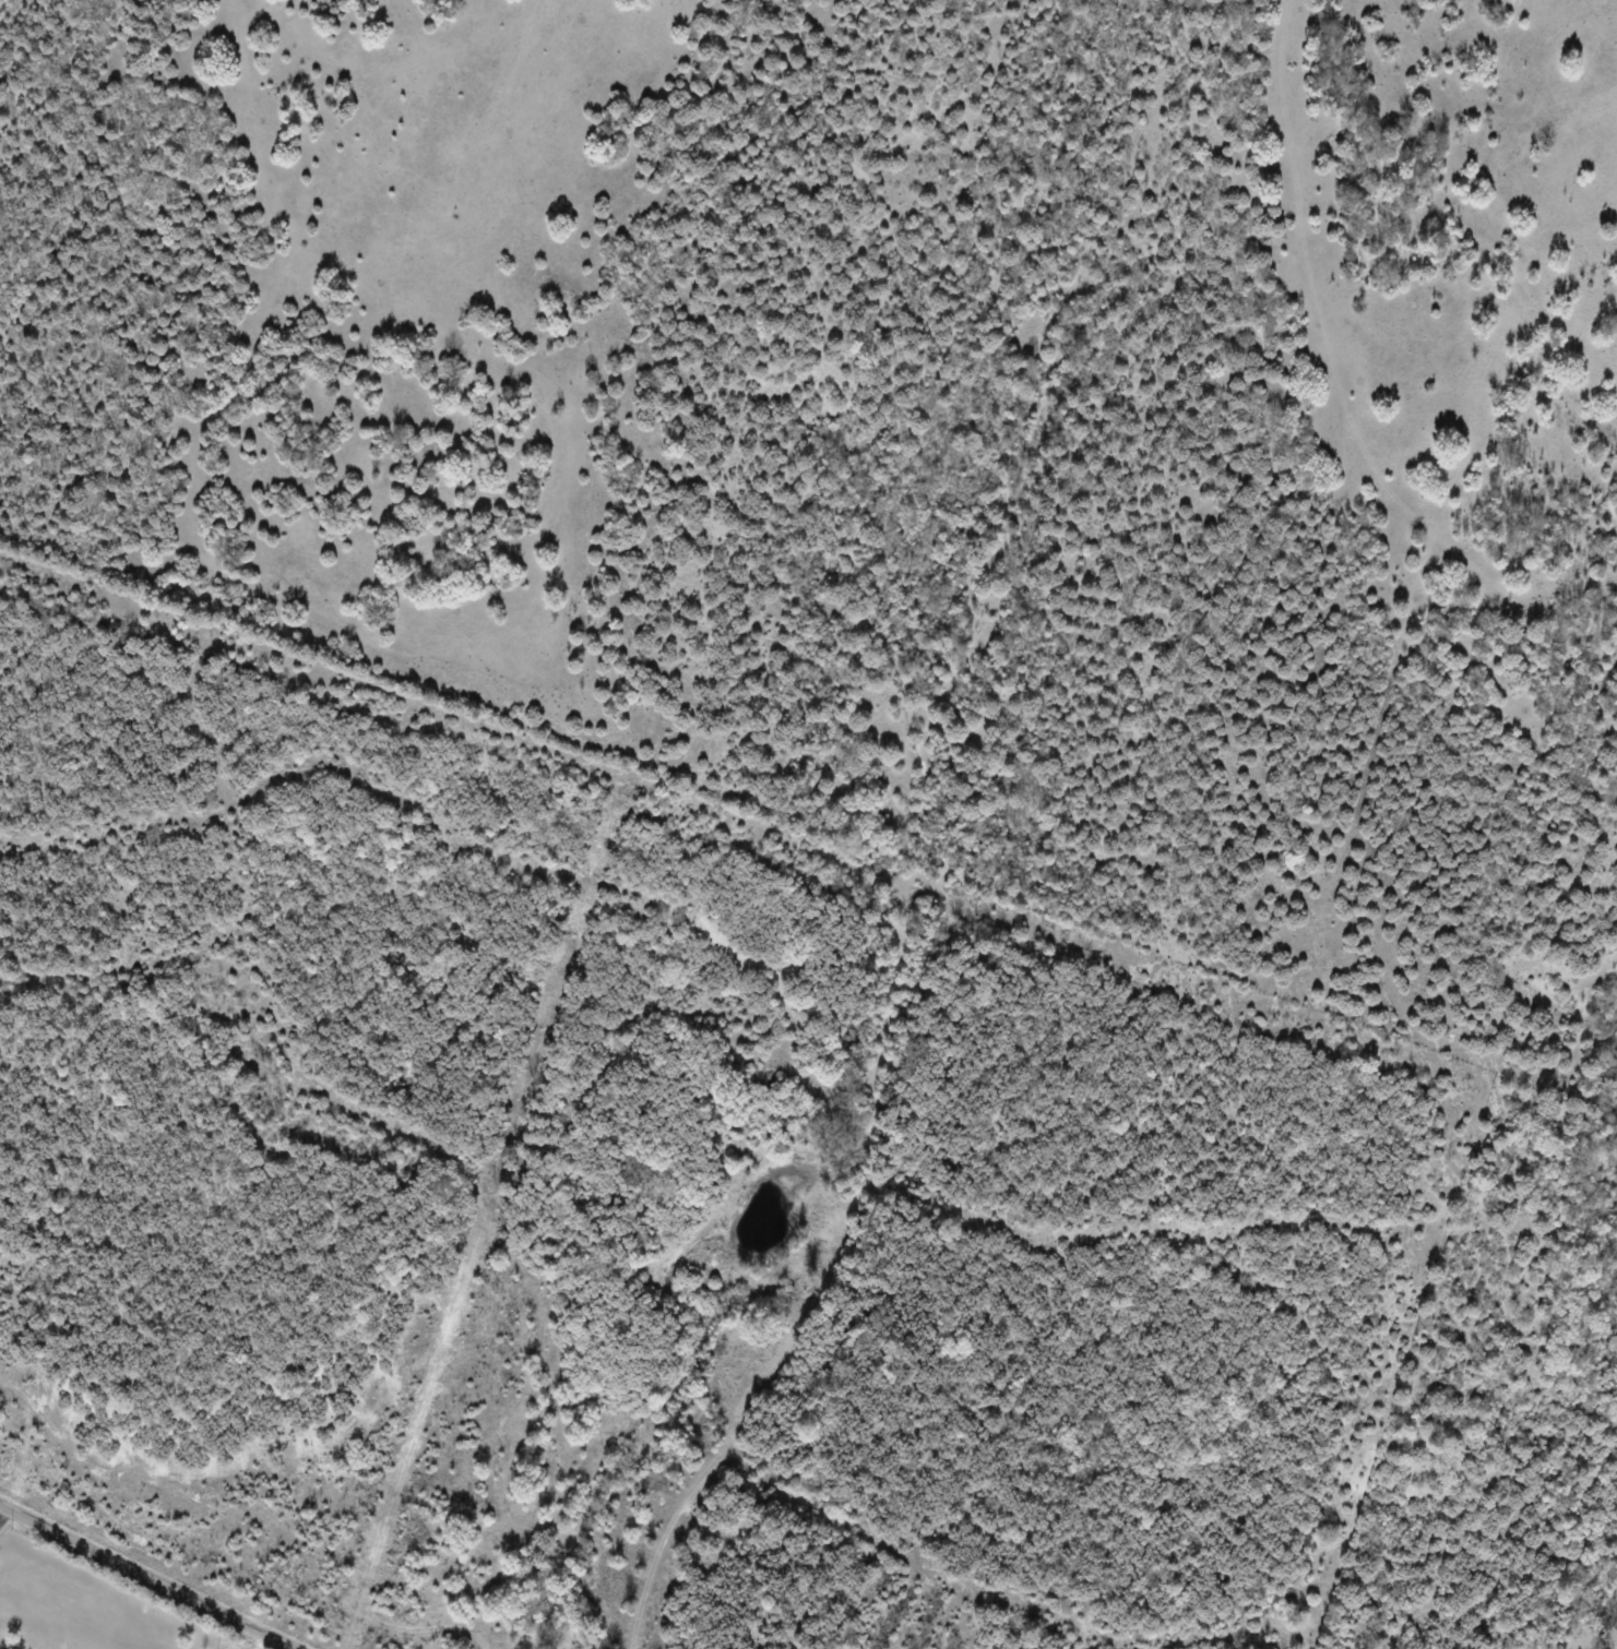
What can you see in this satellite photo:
road: (155, 1577)

